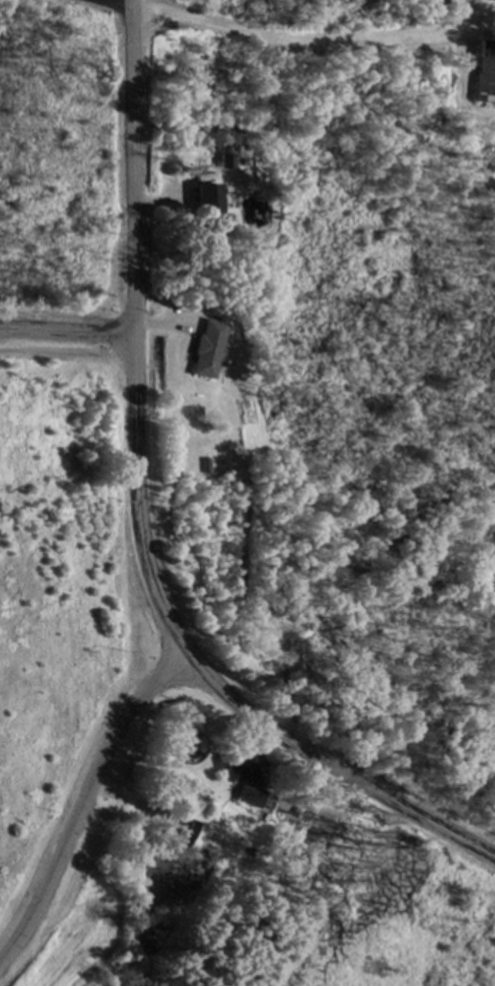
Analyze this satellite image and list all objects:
road: (117, 3)
road: (479, 18)
road: (295, 45)
building: (485, 74)
road: (462, 87)
building: (226, 164)
building: (207, 207)
road: (67, 333)
building: (206, 351)
road: (139, 517)
road: (173, 690)
road: (130, 755)
building: (235, 765)
building: (252, 797)
building: (183, 832)

